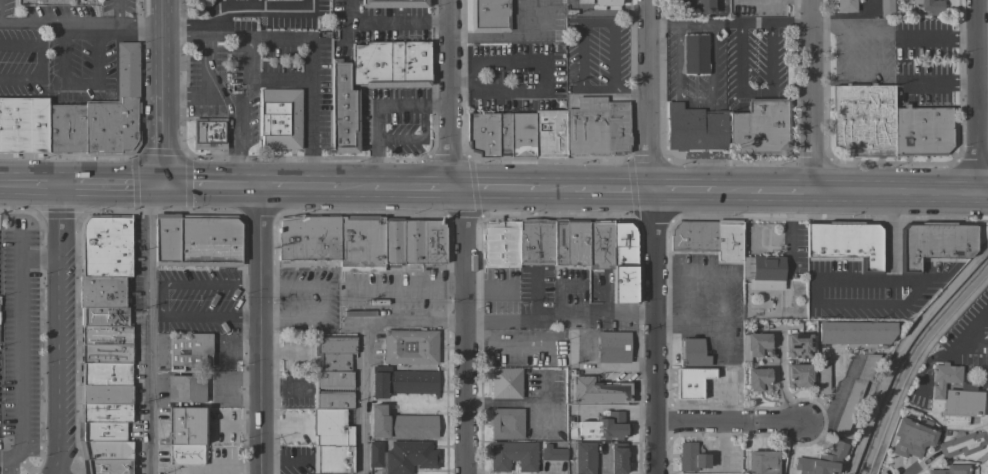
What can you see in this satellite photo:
building: (583, 1)
building: (394, 3)
building: (606, 4)
building: (695, 6)
building: (845, 6)
building: (930, 6)
building: (886, 8)
road: (118, 11)
road: (263, 14)
building: (488, 15)
road: (82, 22)
road: (792, 22)
road: (185, 23)
road: (665, 25)
road: (581, 26)
road: (205, 30)
road: (897, 34)
road: (226, 36)
road: (299, 36)
road: (508, 37)
road: (165, 48)
building: (694, 54)
road: (248, 57)
road: (39, 61)
building: (391, 64)
road: (208, 67)
road: (912, 83)
road: (543, 84)
road: (633, 90)
road: (739, 91)
road: (447, 94)
road: (194, 96)
road: (815, 97)
road: (980, 97)
road: (710, 99)
road: (310, 102)
building: (343, 110)
building: (100, 115)
road: (239, 117)
building: (279, 118)
building: (863, 120)
building: (23, 126)
road: (227, 126)
building: (767, 126)
building: (596, 127)
building: (694, 128)
building: (922, 131)
building: (208, 133)
building: (482, 133)
building: (503, 134)
building: (549, 134)
building: (738, 134)
road: (166, 141)
road: (233, 171)
road: (33, 183)
road: (116, 184)
traffic signals: (167, 185)
road: (251, 186)
road: (354, 187)
road: (410, 188)
road: (458, 189)
road: (502, 190)
road: (553, 191)
road: (614, 192)
road: (684, 193)
road: (730, 194)
road: (782, 194)
road: (902, 194)
road: (656, 236)
building: (693, 236)
building: (307, 238)
building: (167, 239)
building: (210, 240)
building: (535, 241)
building: (728, 241)
building: (413, 242)
building: (559, 242)
building: (576, 242)
building: (847, 242)
building: (360, 243)
building: (933, 243)
building: (500, 245)
building: (599, 245)
building: (104, 247)
building: (624, 262)
building: (763, 272)
road: (393, 287)
building: (101, 293)
road: (163, 300)
road: (321, 302)
road: (878, 305)
road: (562, 313)
building: (103, 317)
road: (63, 329)
road: (148, 329)
road: (264, 330)
road: (468, 331)
road: (972, 331)
building: (855, 332)
building: (104, 336)
road: (20, 342)
road: (362, 343)
building: (759, 345)
building: (798, 345)
building: (409, 347)
building: (613, 347)
building: (190, 350)
building: (986, 350)
building: (333, 352)
building: (692, 353)
building: (105, 354)
building: (103, 374)
building: (797, 375)
building: (823, 379)
building: (759, 380)
building: (402, 382)
building: (690, 382)
building: (506, 383)
building: (185, 389)
building: (314, 390)
building: (987, 390)
building: (599, 391)
building: (856, 392)
building: (107, 395)
building: (953, 397)
building: (105, 413)
building: (506, 423)
road: (729, 423)
building: (186, 425)
building: (400, 425)
building: (605, 426)
building: (330, 428)
building: (100, 431)
building: (911, 437)
building: (963, 443)
road: (719, 446)
road: (787, 448)
building: (105, 450)
building: (552, 453)
building: (186, 454)
building: (375, 454)
building: (409, 456)
building: (513, 456)
building: (584, 457)
building: (618, 458)
building: (691, 458)
building: (332, 459)
building: (822, 461)
building: (762, 463)
building: (106, 466)
park: (982, 467)
road: (219, 469)
building: (951, 469)

